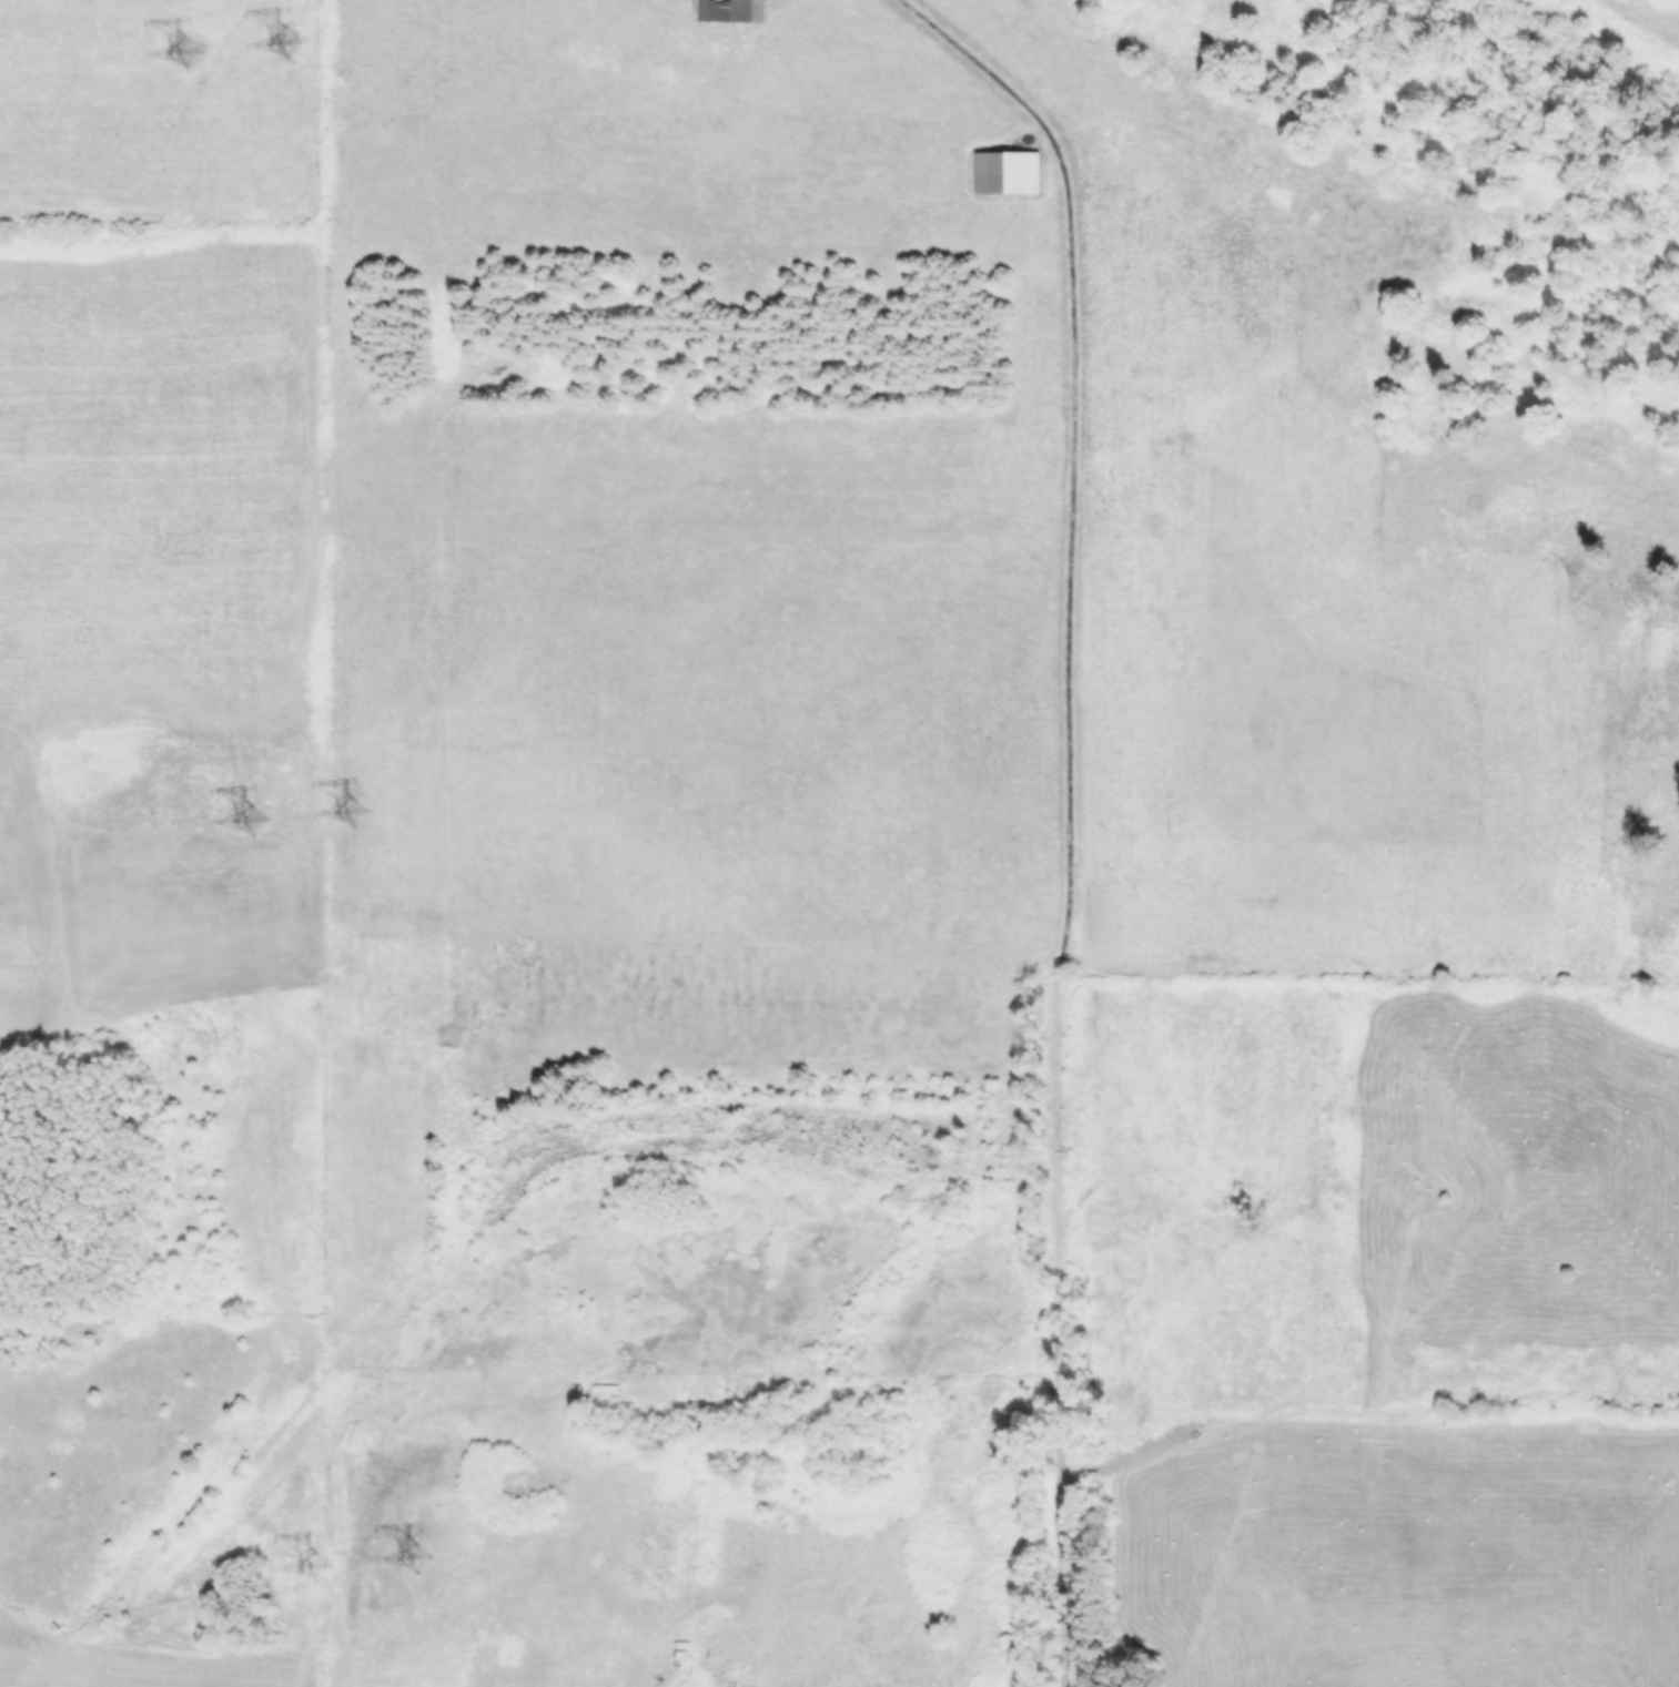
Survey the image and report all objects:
building: (728, 10)
power tower: (267, 49)
power tower: (171, 59)
building: (1004, 171)
road: (1072, 443)
power tower: (334, 817)
power tower: (235, 831)
power tower: (408, 1572)
power tower: (294, 1579)

